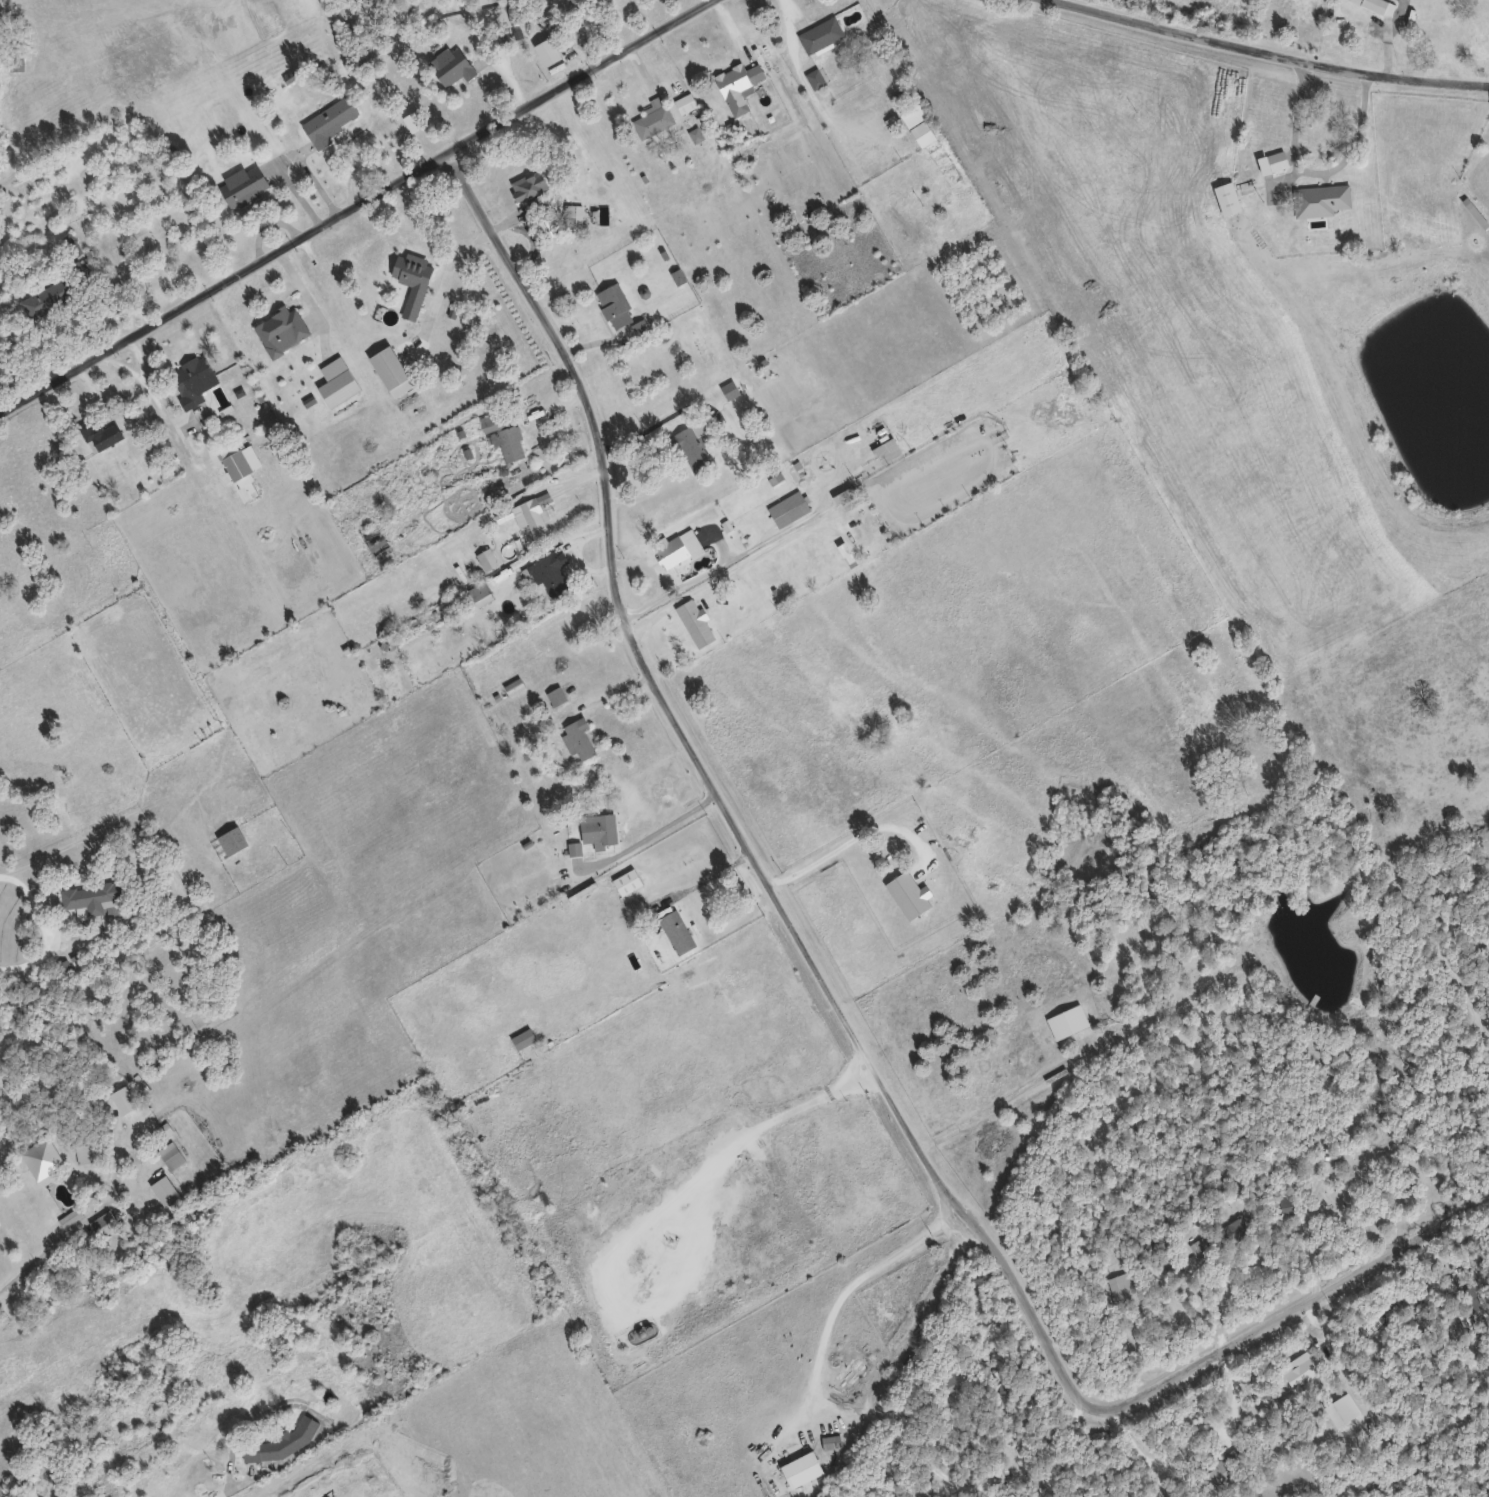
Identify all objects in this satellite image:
building: (1379, 6)
building: (1432, 32)
building: (821, 34)
road: (1272, 53)
building: (450, 64)
building: (816, 77)
building: (739, 84)
building: (685, 102)
building: (653, 117)
building: (330, 120)
building: (414, 120)
building: (923, 132)
building: (1274, 161)
road: (1314, 168)
building: (244, 185)
building: (529, 185)
building: (1228, 197)
building: (1322, 199)
road: (357, 208)
building: (69, 246)
building: (414, 274)
road: (446, 278)
building: (48, 298)
building: (615, 306)
road: (118, 366)
building: (392, 371)
building: (192, 378)
road: (155, 405)
road: (660, 418)
building: (489, 422)
building: (102, 434)
building: (510, 443)
building: (692, 445)
building: (240, 467)
building: (1472, 506)
building: (789, 509)
building: (536, 515)
building: (375, 541)
building: (678, 549)
building: (488, 559)
road: (740, 563)
building: (550, 575)
building: (480, 590)
building: (696, 622)
building: (579, 737)
road: (664, 826)
building: (599, 827)
building: (973, 831)
road: (859, 837)
building: (233, 839)
road: (708, 875)
building: (627, 880)
building: (92, 893)
road: (46, 928)
building: (677, 930)
road: (833, 993)
building: (522, 1038)
building: (119, 1082)
road: (1006, 1098)
building: (117, 1126)
building: (84, 1151)
building: (171, 1155)
building: (1336, 1197)
building: (44, 1211)
building: (105, 1225)
building: (1221, 1237)
road: (32, 1267)
building: (1123, 1290)
road: (1472, 1315)
road: (820, 1369)
building: (1301, 1369)
building: (956, 1381)
road: (1363, 1396)
building: (831, 1440)
building: (284, 1442)
road: (1044, 1445)
building: (1238, 1451)
building: (1216, 1474)

